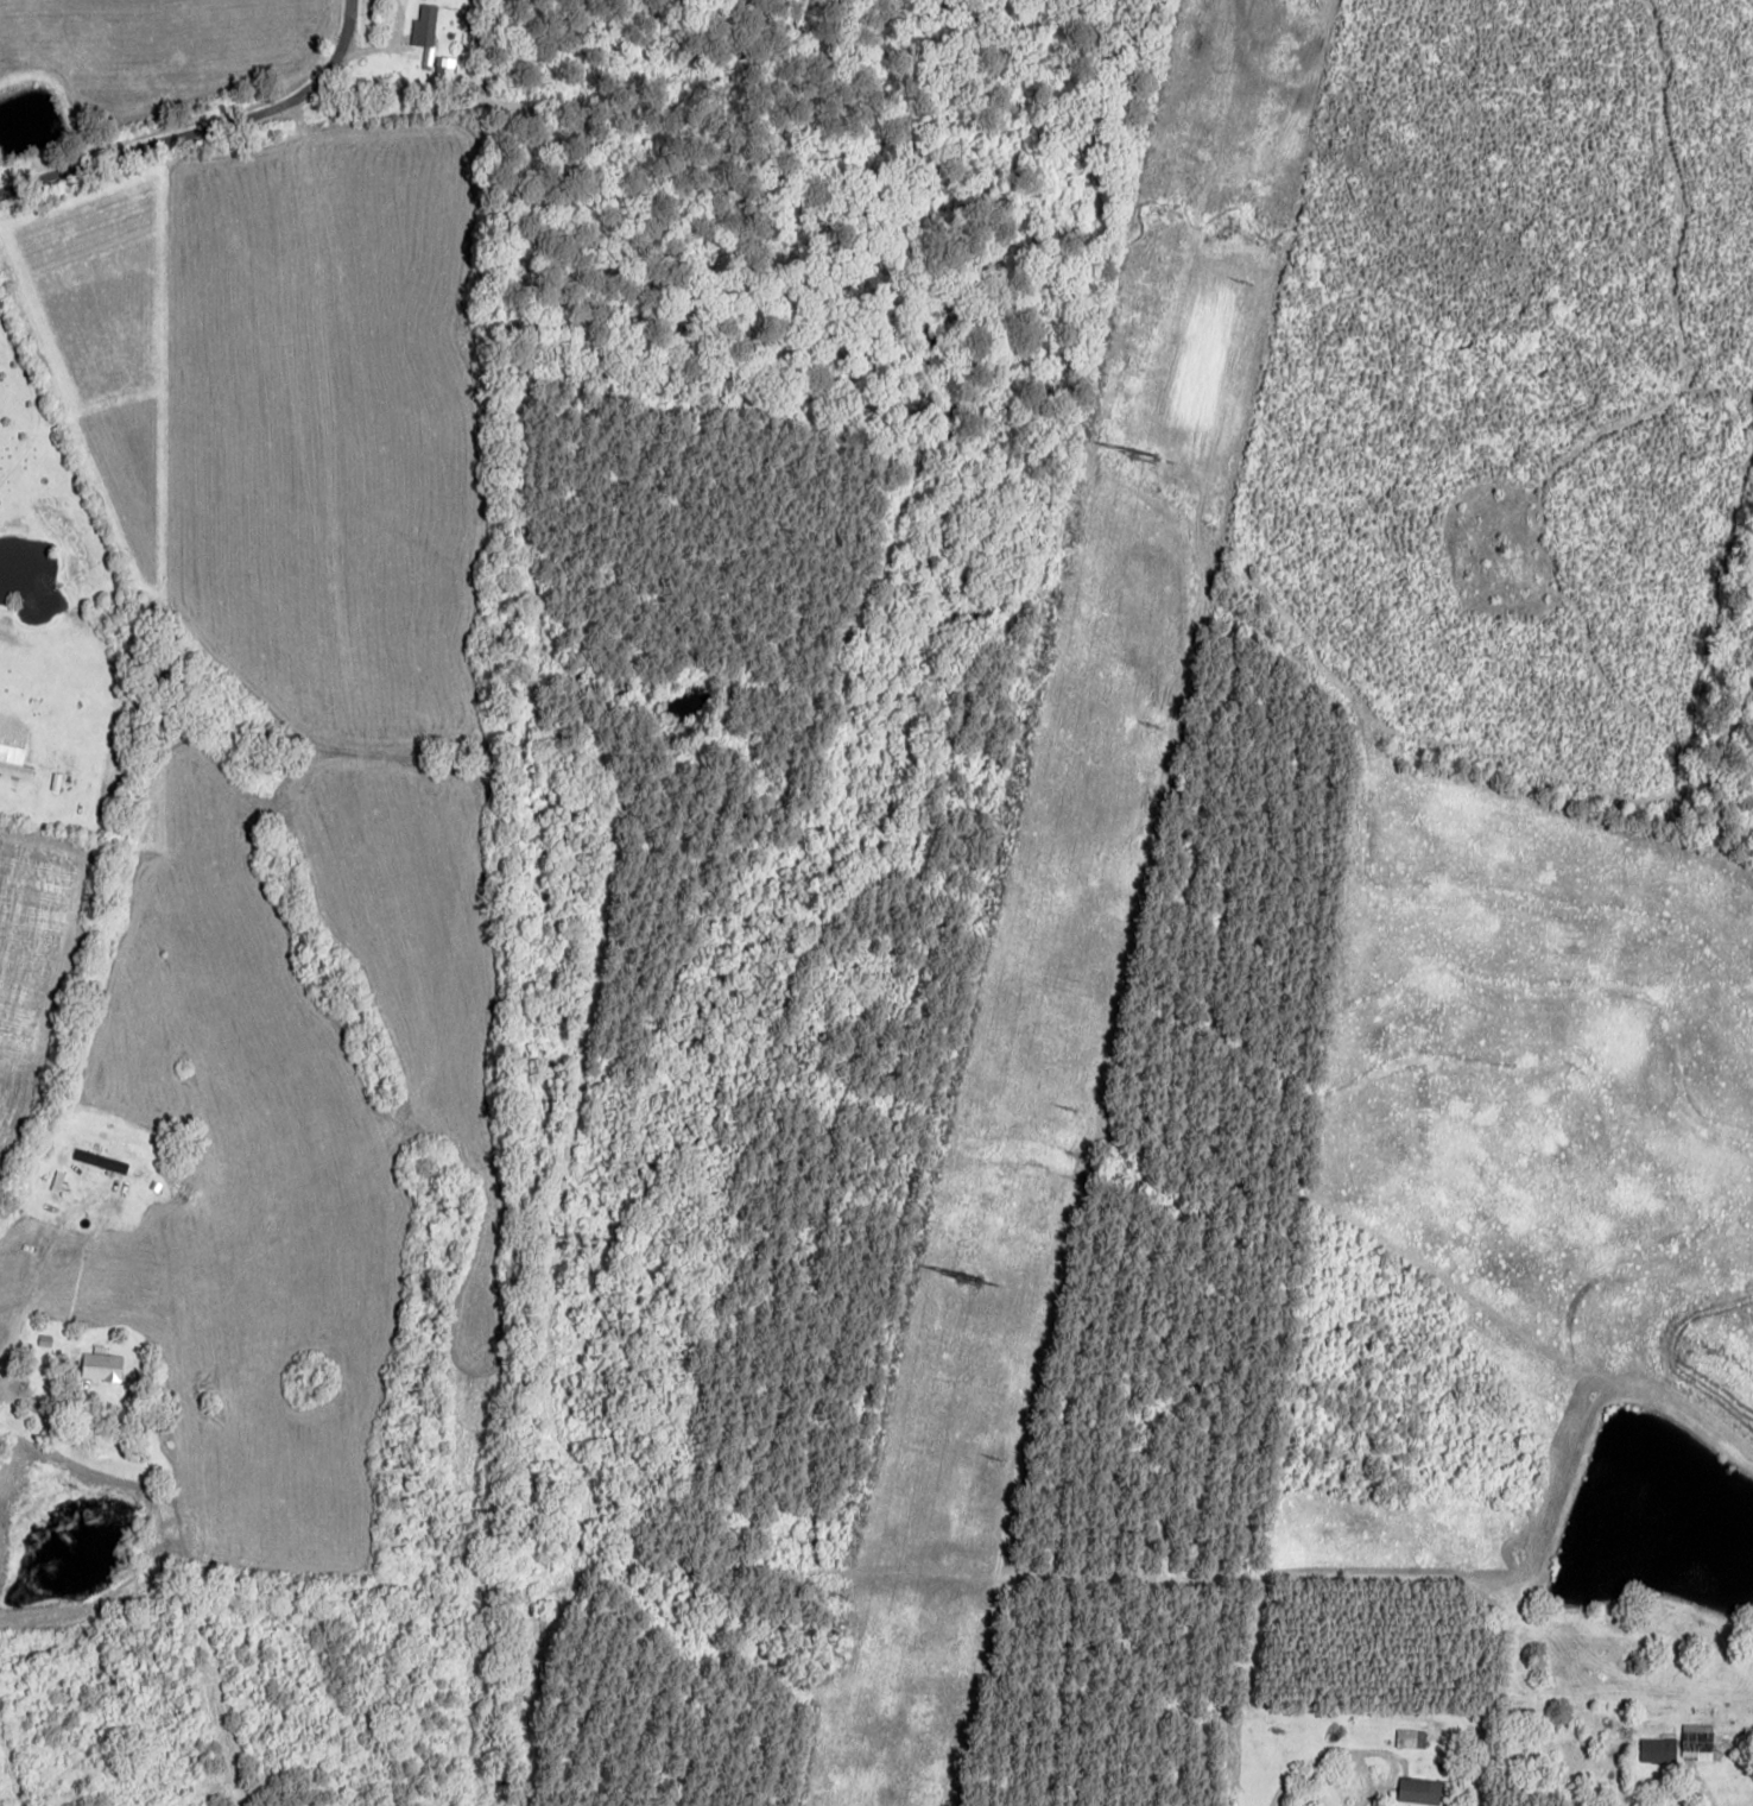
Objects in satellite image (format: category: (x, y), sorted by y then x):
building: (425, 32)
road: (215, 149)
power tower: (1137, 462)
building: (13, 762)
building: (100, 1161)
power tower: (963, 1282)
building: (101, 1366)
road: (1323, 1720)
building: (1411, 1738)
building: (1700, 1742)
building: (1659, 1750)
building: (1419, 1789)

